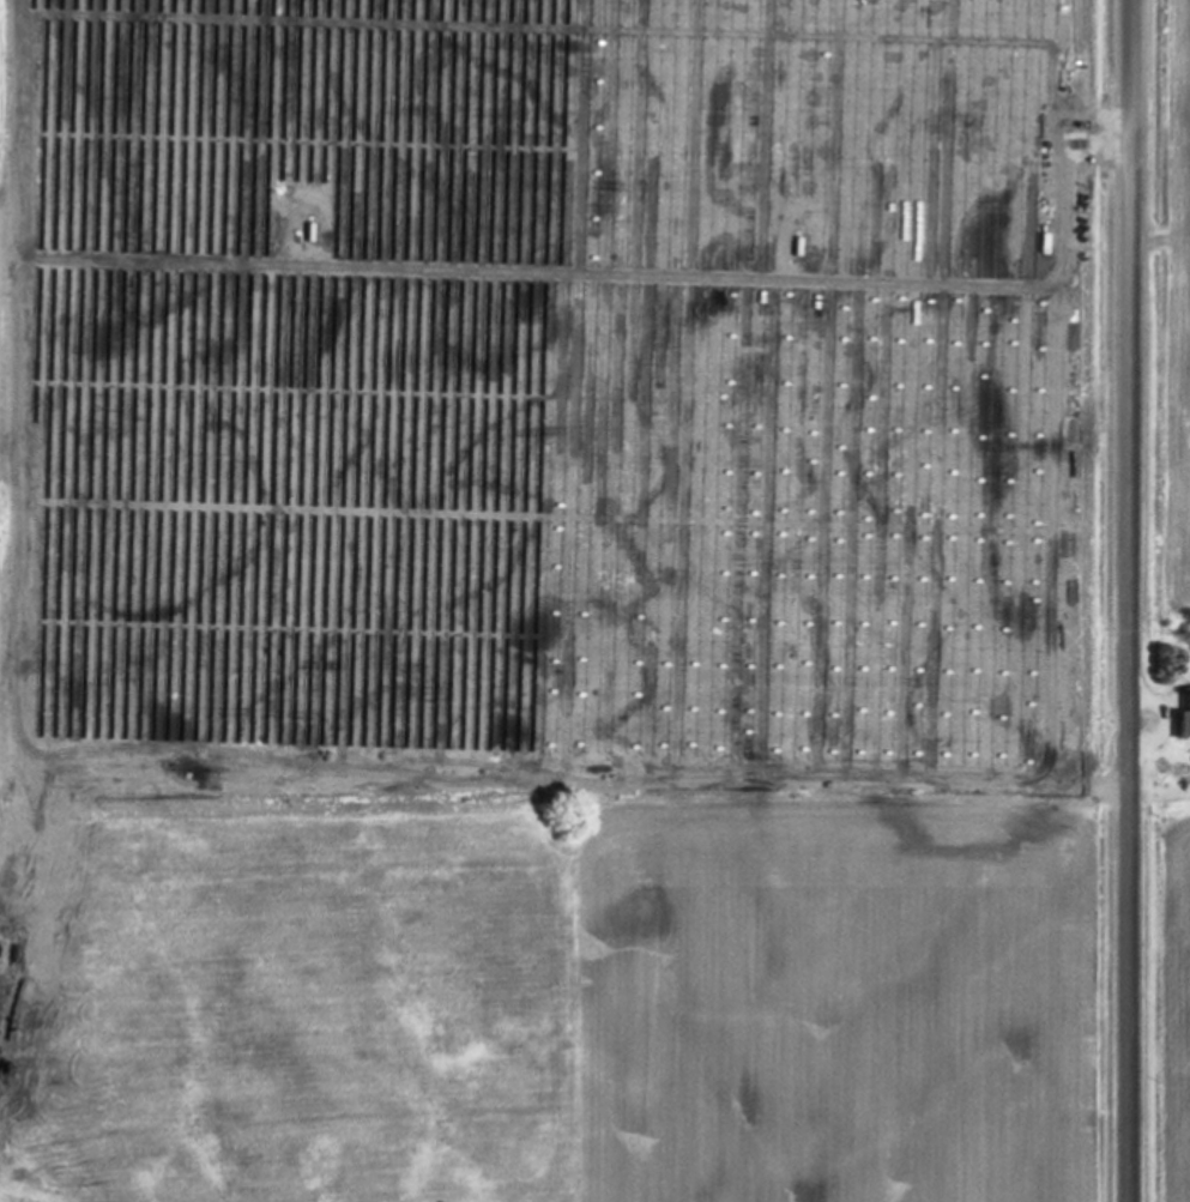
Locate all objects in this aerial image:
road: (1128, 600)
building: (1182, 721)

